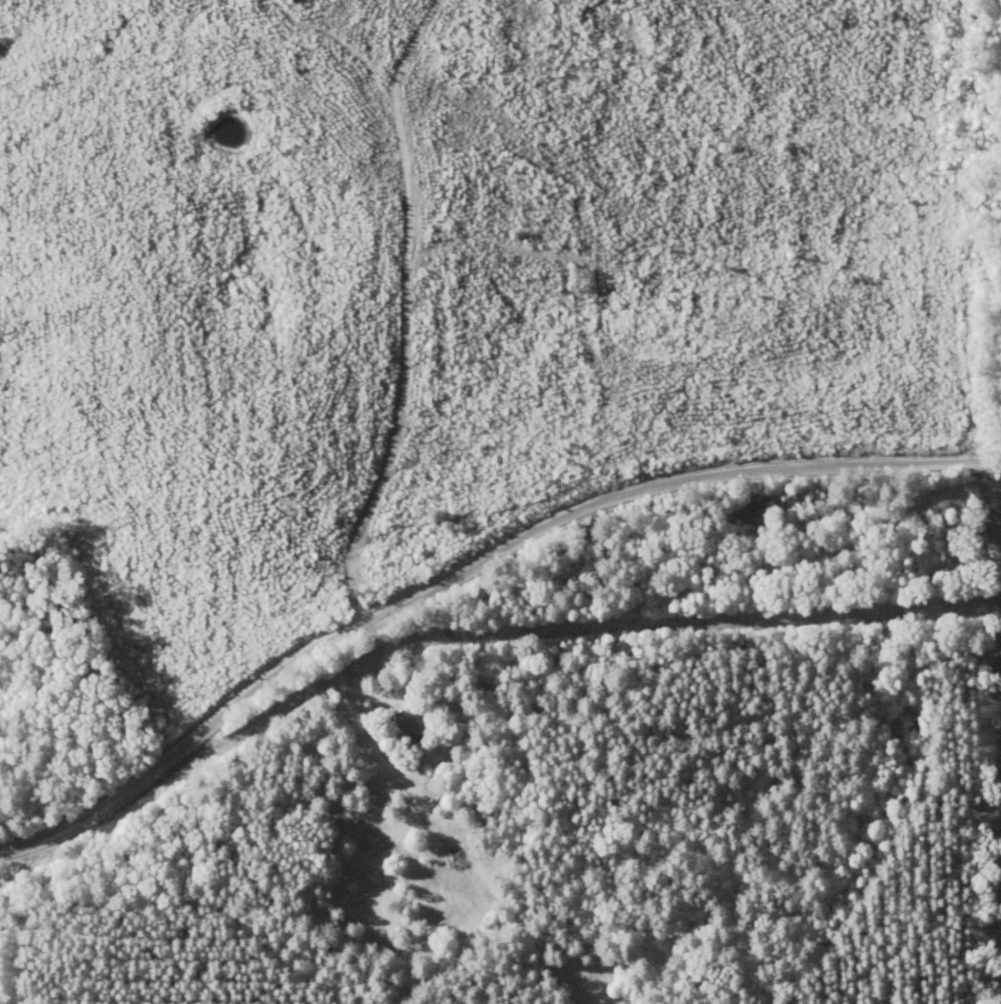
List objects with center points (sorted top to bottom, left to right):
road: (414, 341)
building: (757, 513)
road: (472, 596)
building: (413, 723)

